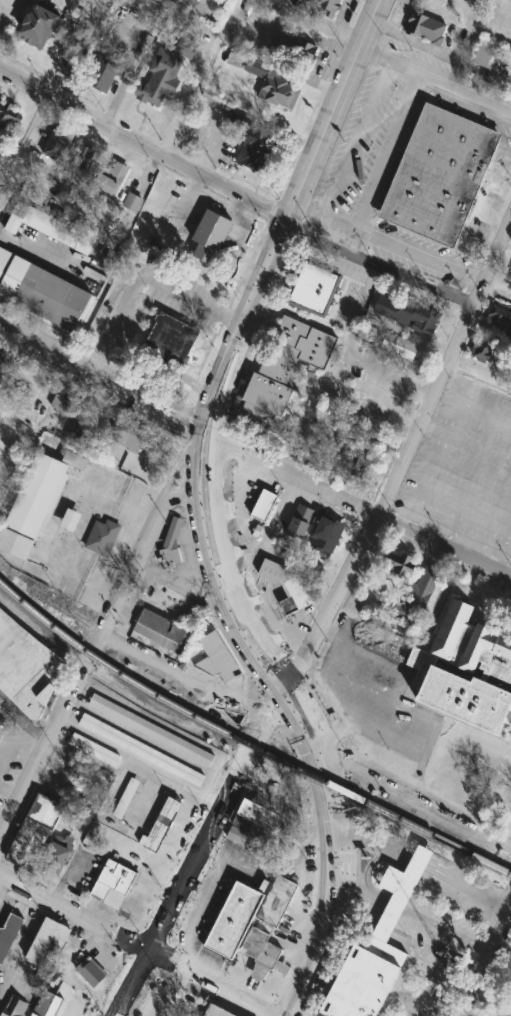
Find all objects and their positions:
building: (325, 7)
building: (37, 27)
building: (426, 30)
building: (301, 50)
building: (104, 73)
road: (197, 76)
building: (160, 79)
road: (435, 79)
building: (273, 85)
road: (52, 100)
building: (8, 117)
building: (246, 137)
building: (55, 147)
road: (382, 157)
building: (81, 160)
building: (439, 178)
building: (108, 182)
road: (197, 182)
road: (234, 188)
road: (213, 201)
road: (238, 201)
building: (132, 203)
road: (289, 219)
building: (58, 232)
building: (209, 237)
road: (388, 242)
road: (200, 264)
road: (141, 270)
building: (509, 284)
building: (313, 289)
building: (42, 296)
building: (409, 315)
building: (497, 318)
building: (169, 344)
road: (352, 346)
building: (400, 348)
building: (482, 352)
building: (3, 361)
road: (338, 366)
building: (281, 372)
road: (326, 387)
building: (65, 400)
building: (125, 434)
building: (82, 440)
road: (403, 451)
road: (249, 459)
building: (355, 460)
building: (74, 461)
parking lot: (464, 470)
building: (31, 504)
building: (264, 507)
road: (207, 516)
building: (69, 520)
building: (300, 522)
road: (268, 531)
building: (257, 532)
building: (172, 535)
building: (326, 535)
building: (102, 538)
building: (170, 559)
building: (397, 564)
building: (308, 567)
road: (180, 582)
building: (286, 585)
building: (422, 589)
building: (400, 613)
building: (161, 630)
road: (99, 637)
building: (227, 652)
road: (371, 654)
road: (340, 658)
building: (26, 669)
road: (174, 671)
building: (465, 672)
road: (364, 687)
parking lot: (375, 698)
building: (150, 730)
road: (307, 731)
railway: (247, 741)
building: (94, 750)
building: (140, 750)
building: (124, 800)
road: (418, 800)
building: (83, 806)
building: (44, 812)
road: (216, 812)
building: (255, 814)
building: (242, 824)
building: (161, 825)
building: (236, 834)
building: (29, 844)
building: (55, 856)
parking lot: (80, 871)
building: (119, 872)
parking lot: (216, 888)
building: (110, 889)
road: (364, 891)
building: (276, 902)
road: (398, 906)
building: (233, 923)
road: (448, 929)
building: (8, 933)
building: (60, 937)
road: (142, 939)
building: (41, 941)
building: (377, 951)
road: (314, 952)
building: (262, 955)
road: (483, 961)
building: (91, 971)
parking lot: (500, 995)
building: (43, 1004)
road: (164, 1010)
building: (218, 1011)
road: (113, 1015)

